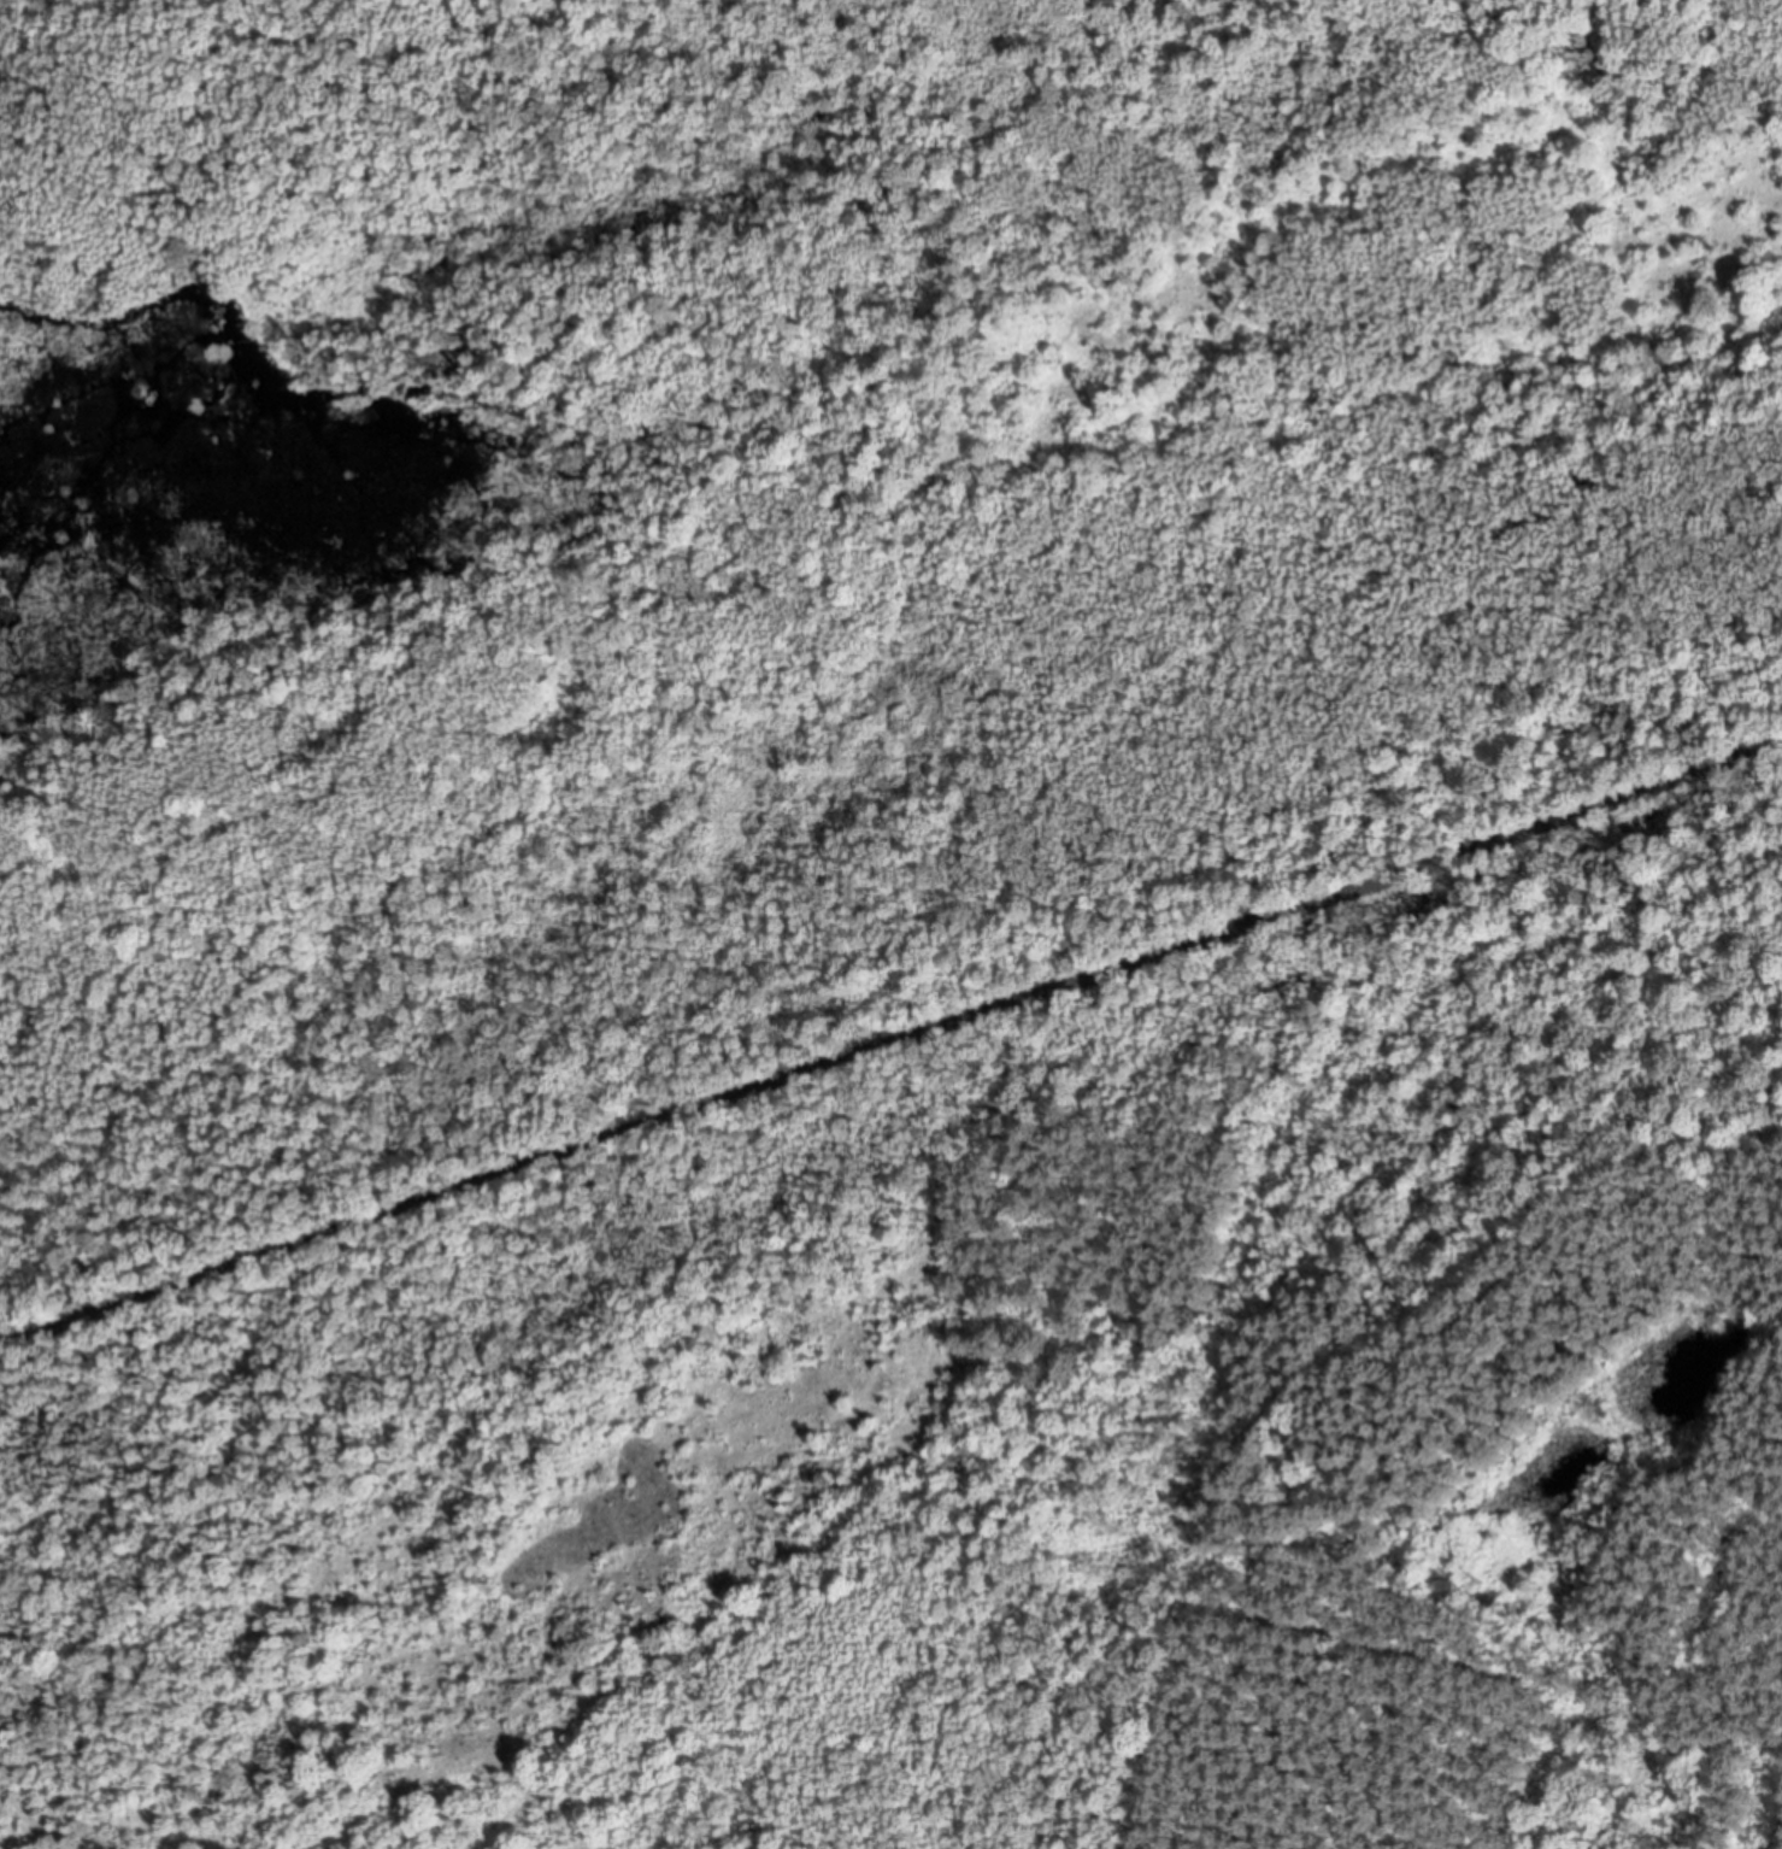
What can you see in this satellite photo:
road: (890, 1041)

